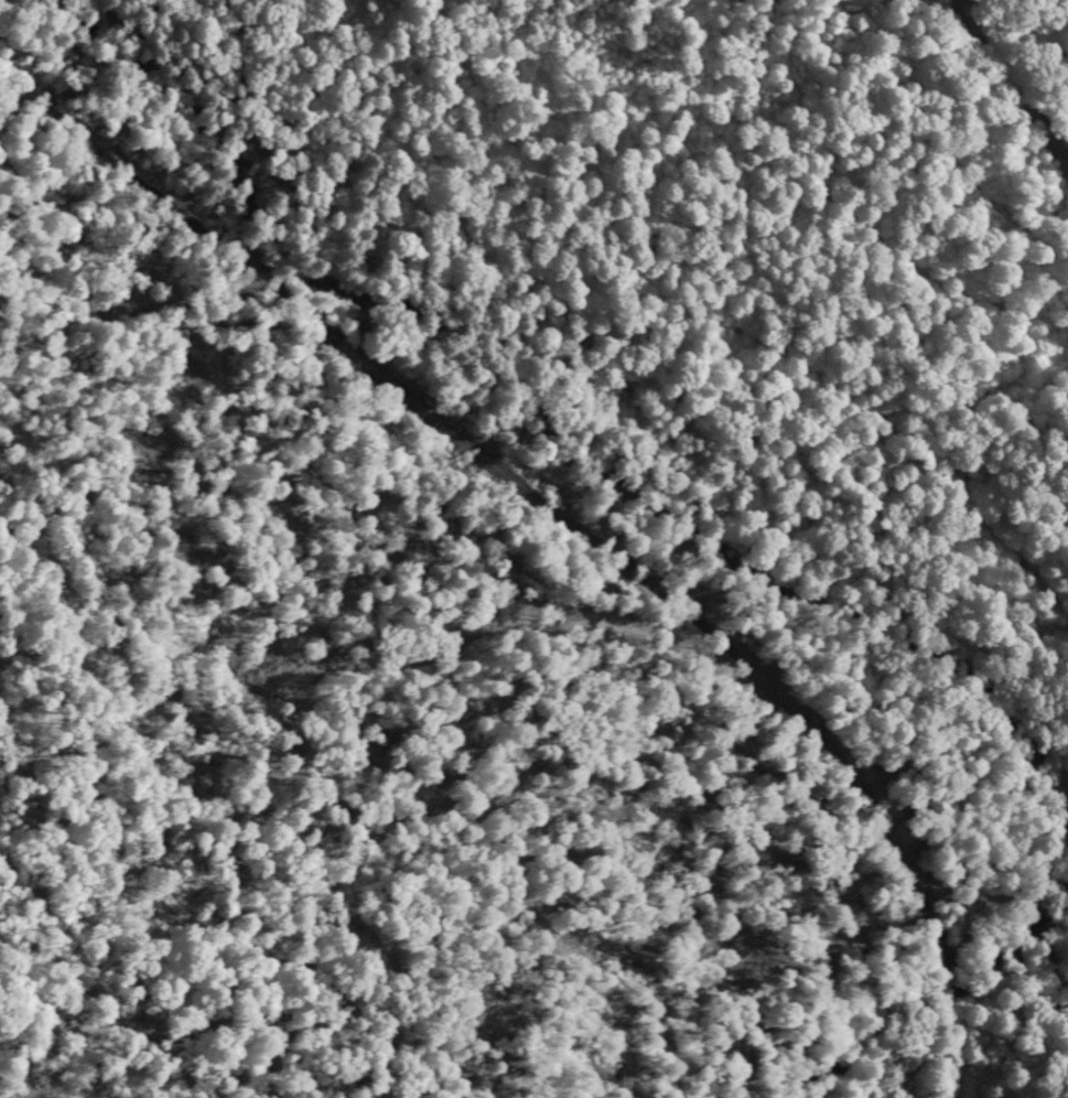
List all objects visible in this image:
road: (1021, 79)
railway: (515, 474)
railway: (938, 998)
railway: (941, 1063)

